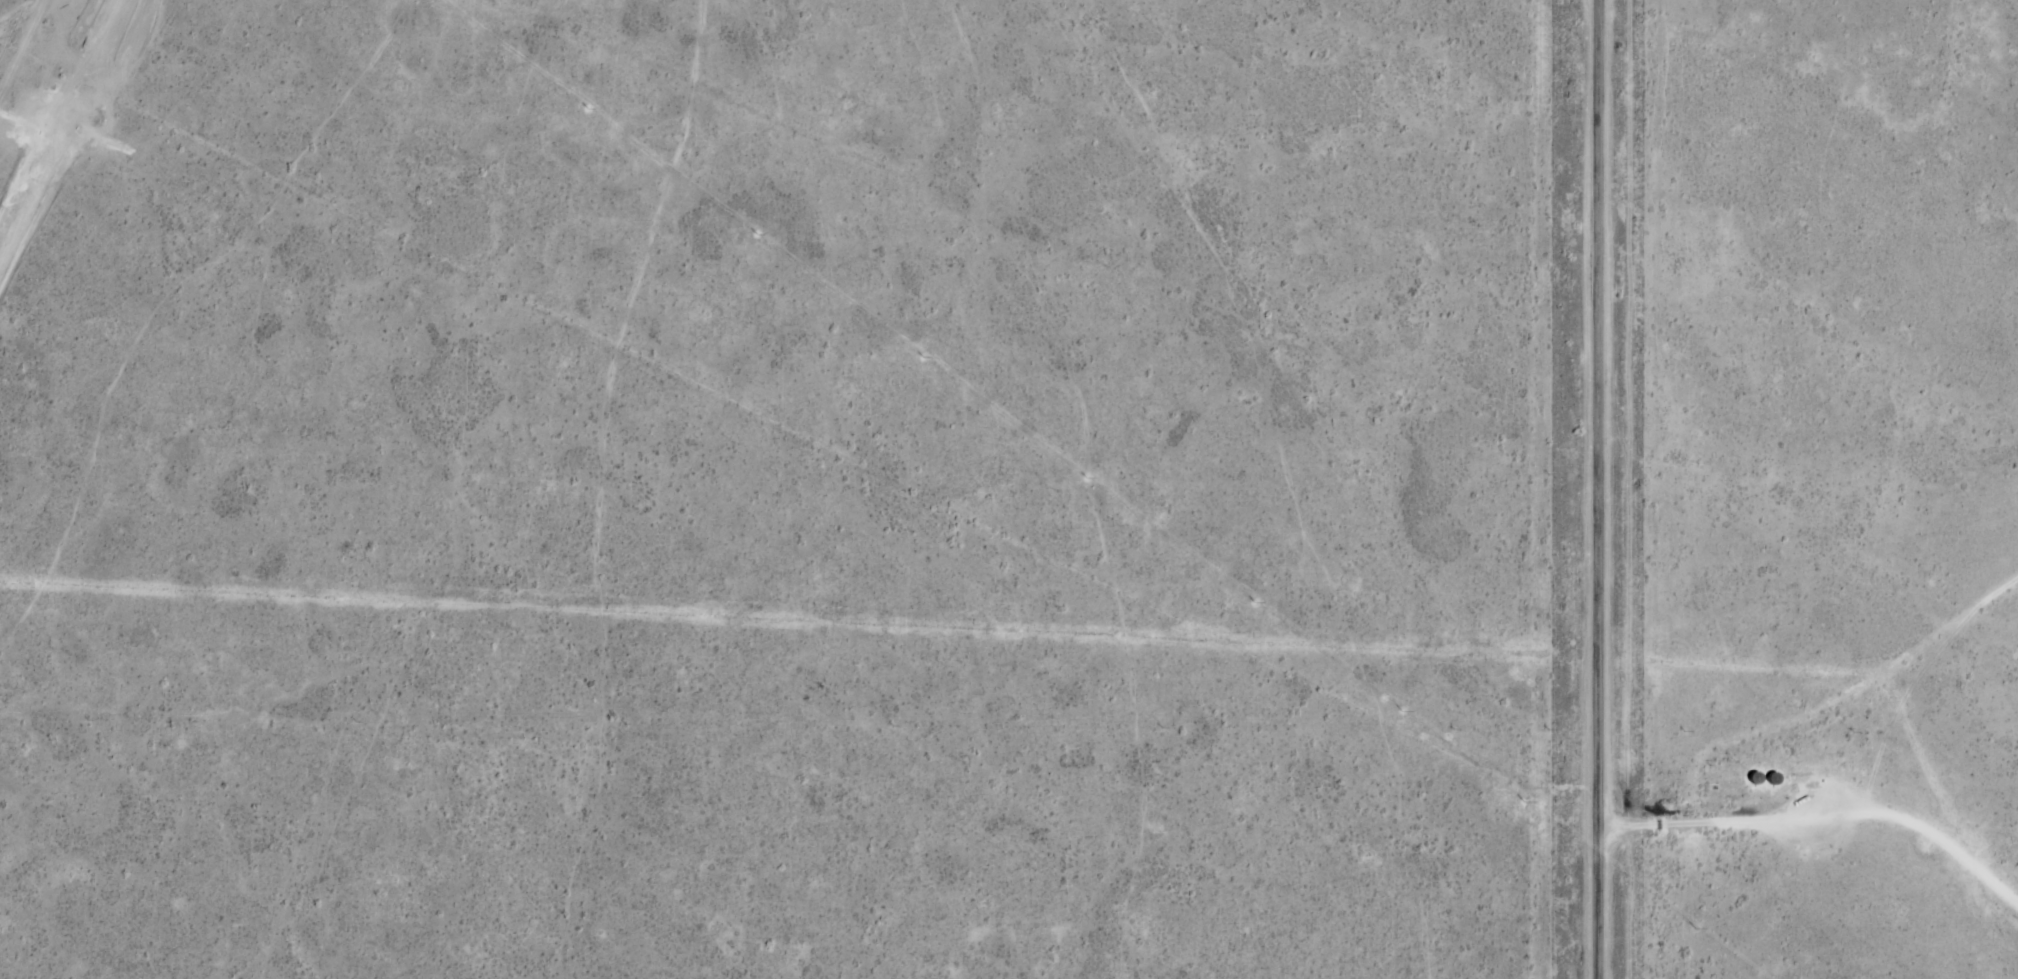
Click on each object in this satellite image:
road: (1598, 489)
road: (1808, 671)
road: (1834, 816)

